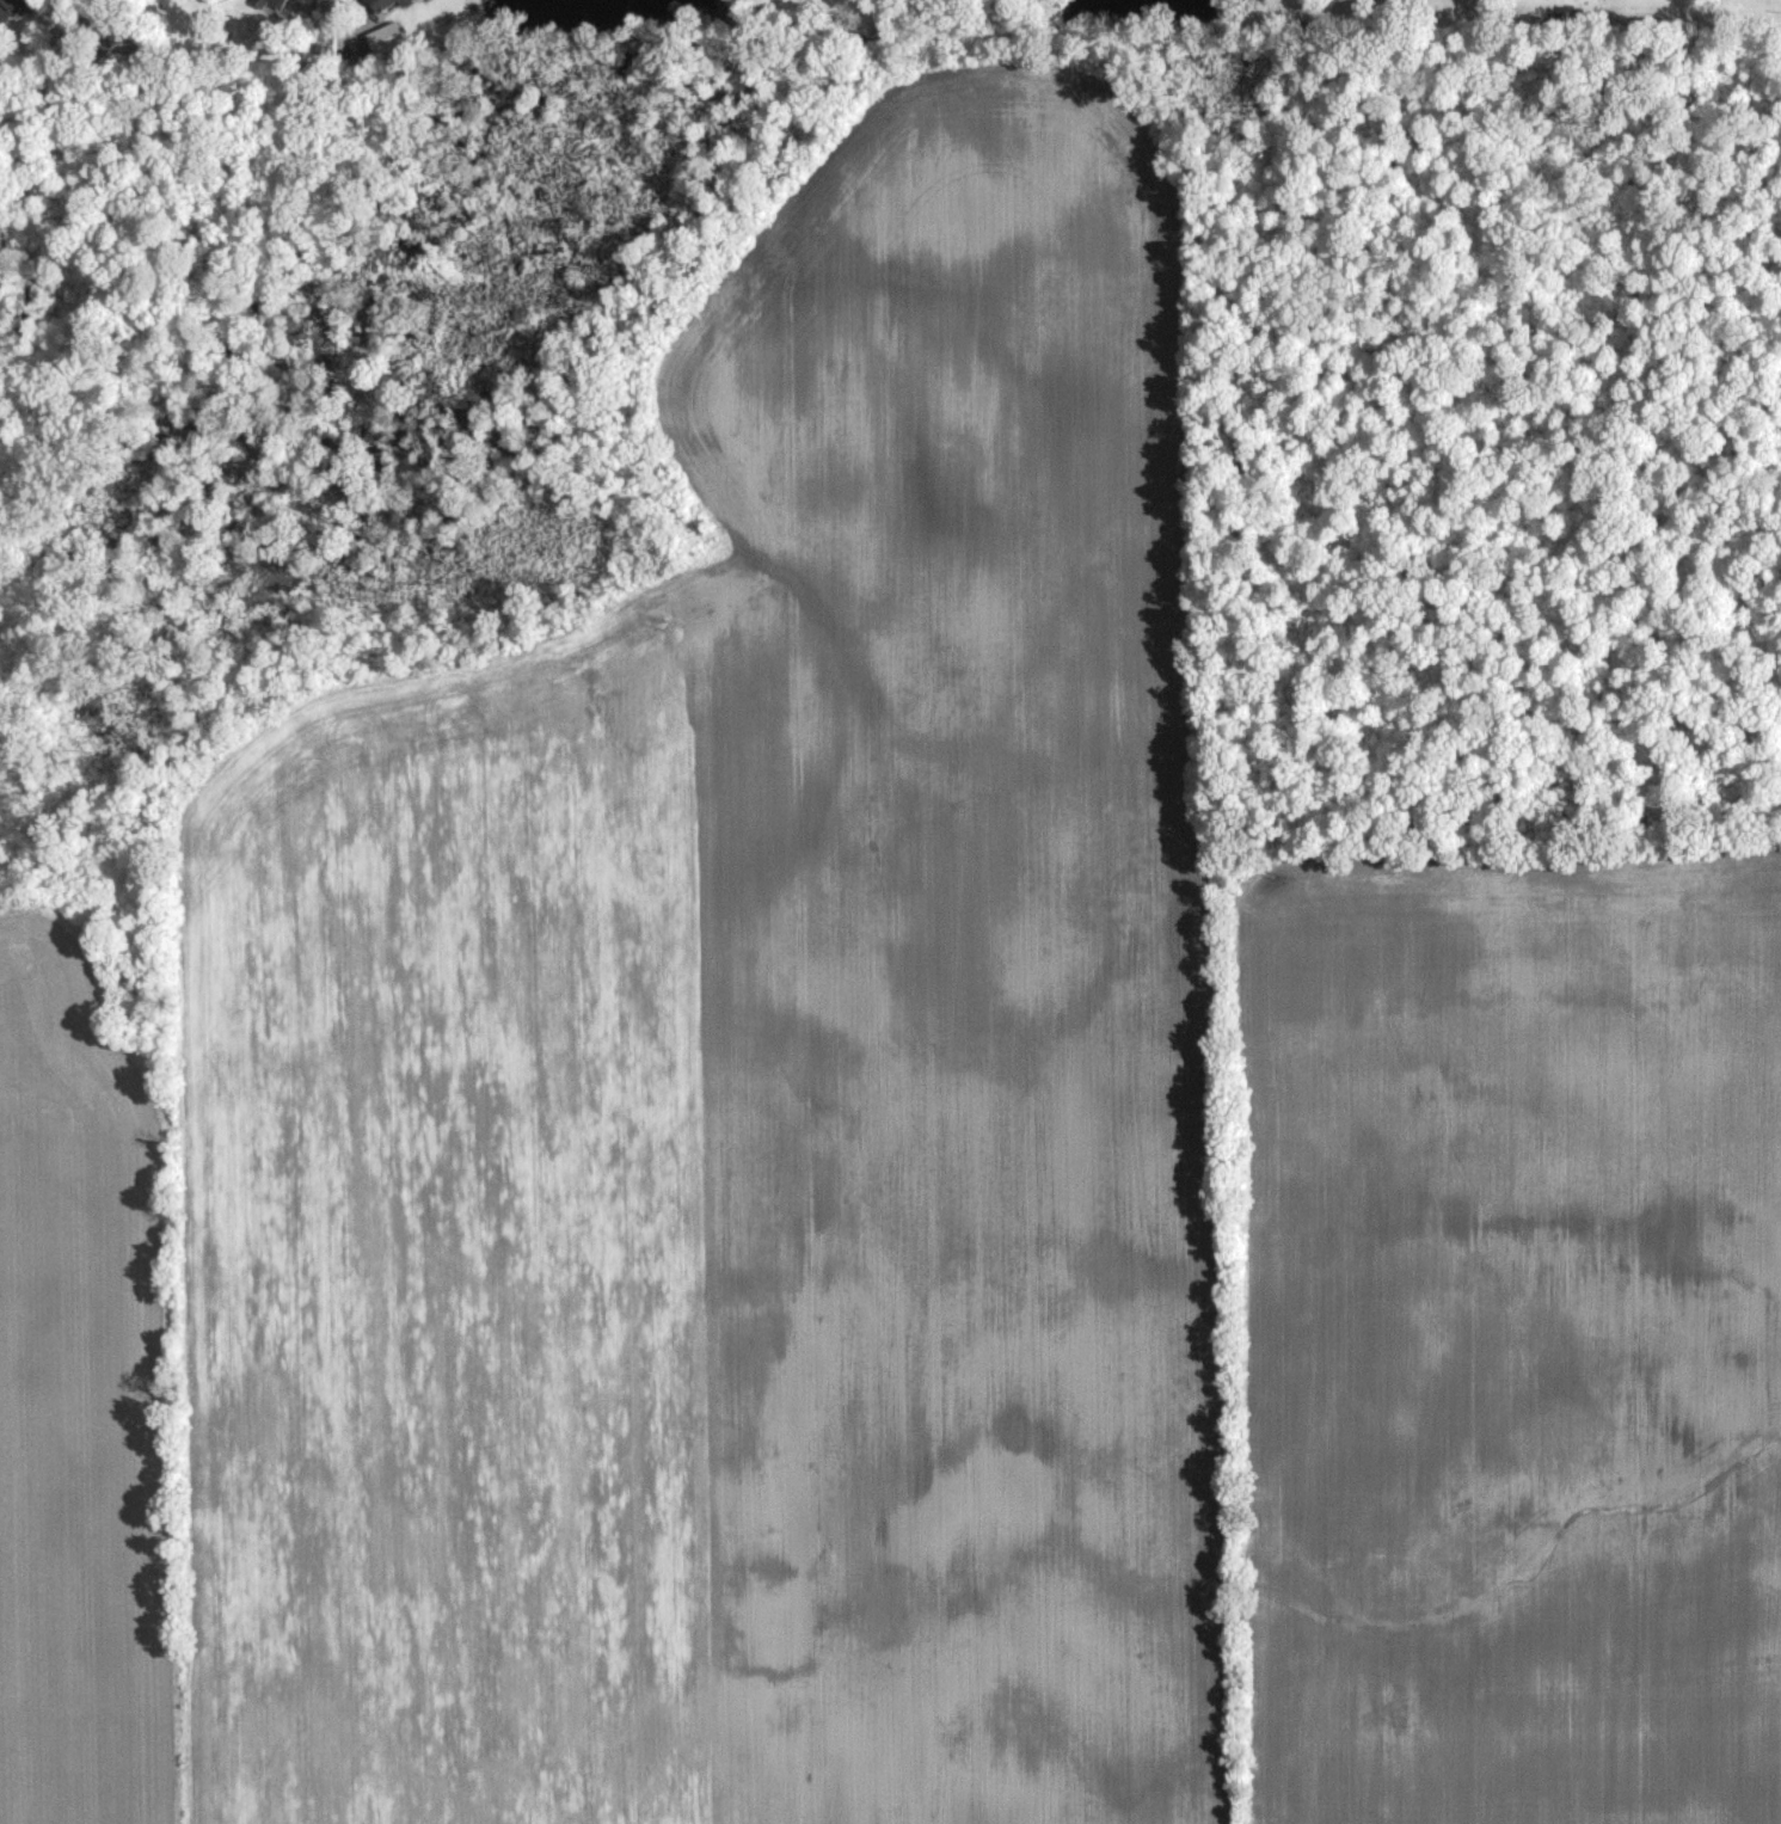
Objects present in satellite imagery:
building: (13, 1)
building: (375, 4)
building: (385, 37)

